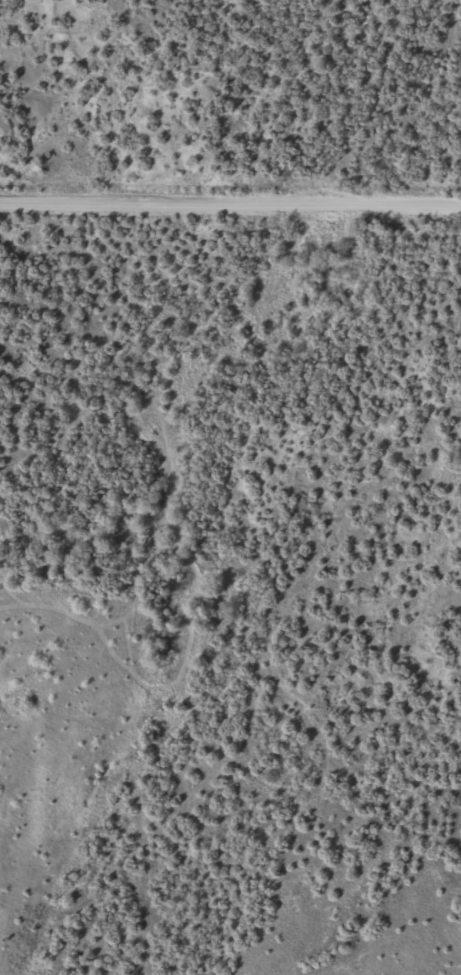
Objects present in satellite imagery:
road: (230, 200)

